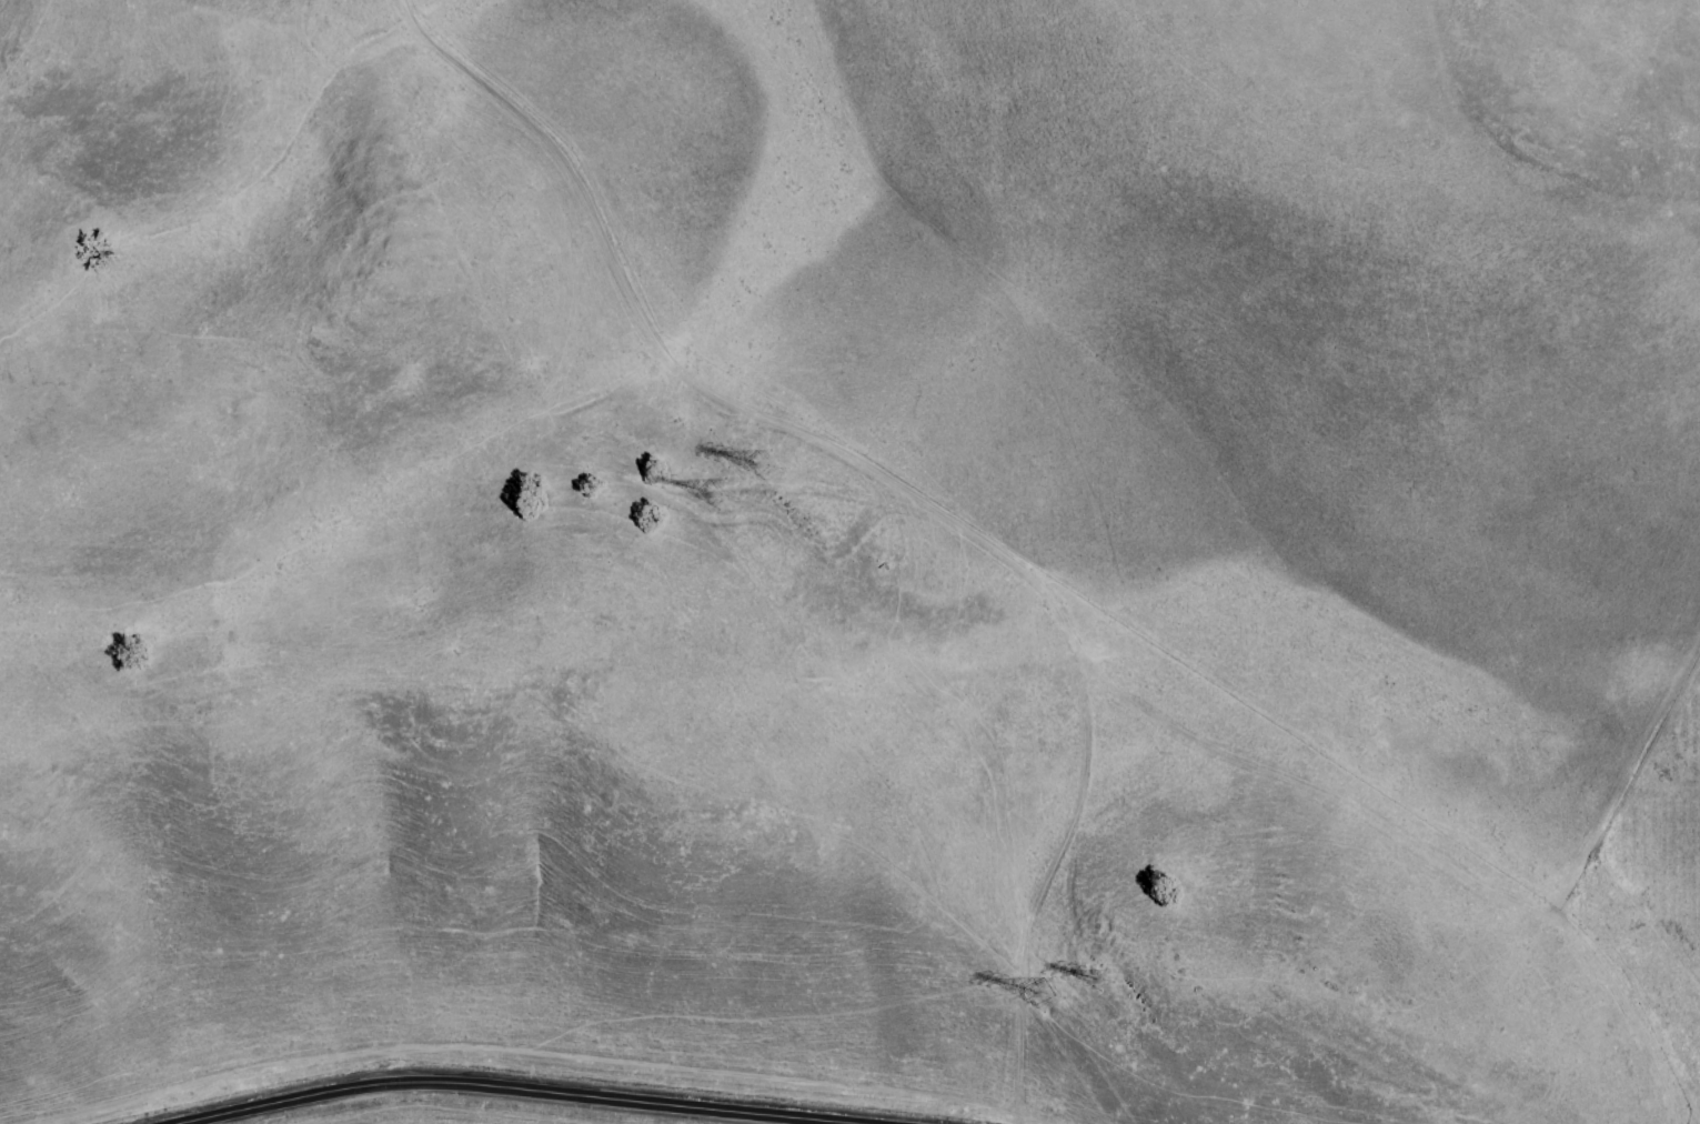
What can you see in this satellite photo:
power tower: (767, 452)
power tower: (721, 492)
park: (849, 562)
road: (1036, 562)
road: (1610, 773)
power tower: (1105, 977)
power tower: (1052, 994)
road: (529, 1094)

